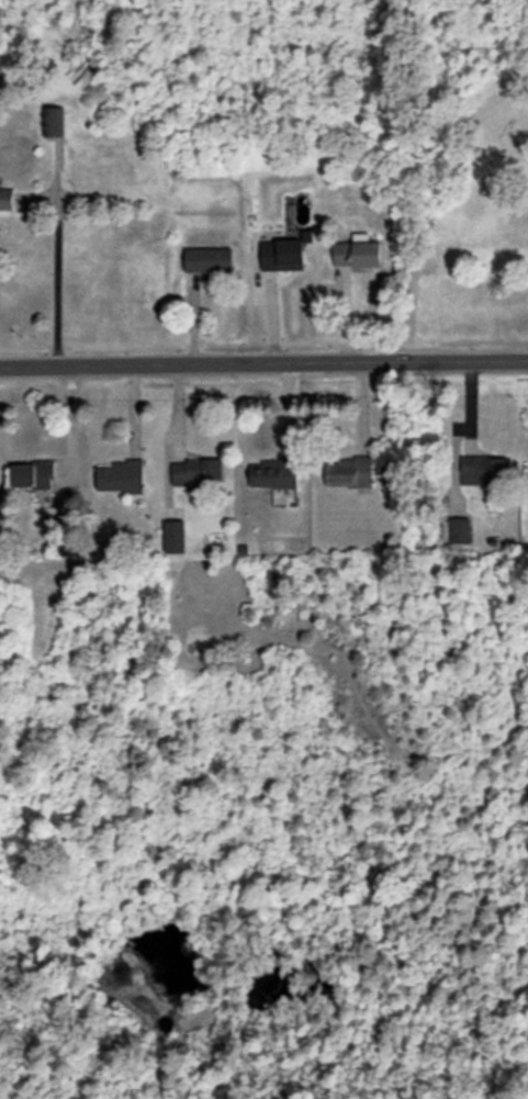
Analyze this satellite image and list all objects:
building: (53, 121)
building: (5, 198)
building: (357, 251)
building: (283, 253)
building: (207, 260)
road: (54, 277)
road: (263, 362)
building: (484, 469)
building: (196, 470)
building: (348, 471)
building: (273, 473)
building: (32, 474)
building: (120, 475)
building: (458, 529)
building: (173, 536)

